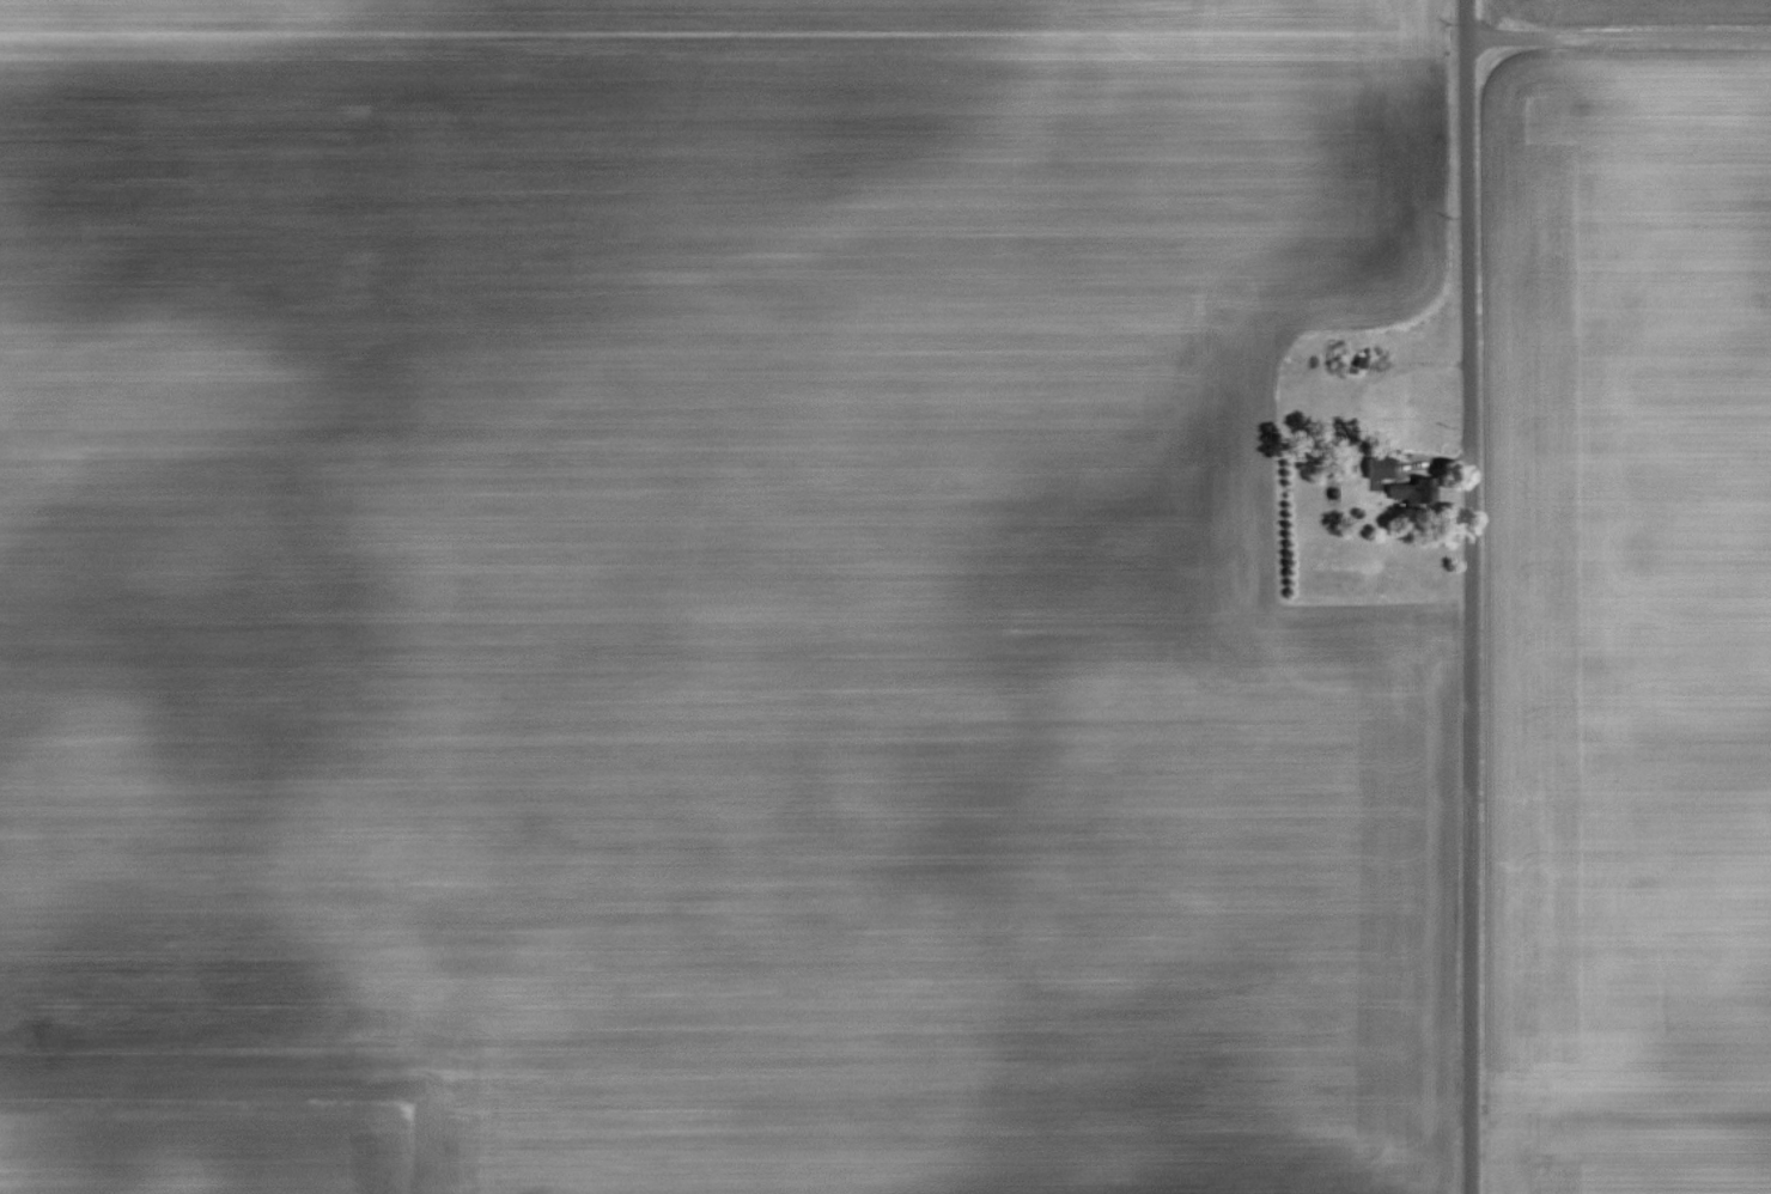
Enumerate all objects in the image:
road: (1614, 17)
building: (1374, 467)
building: (1411, 493)
road: (1461, 596)

